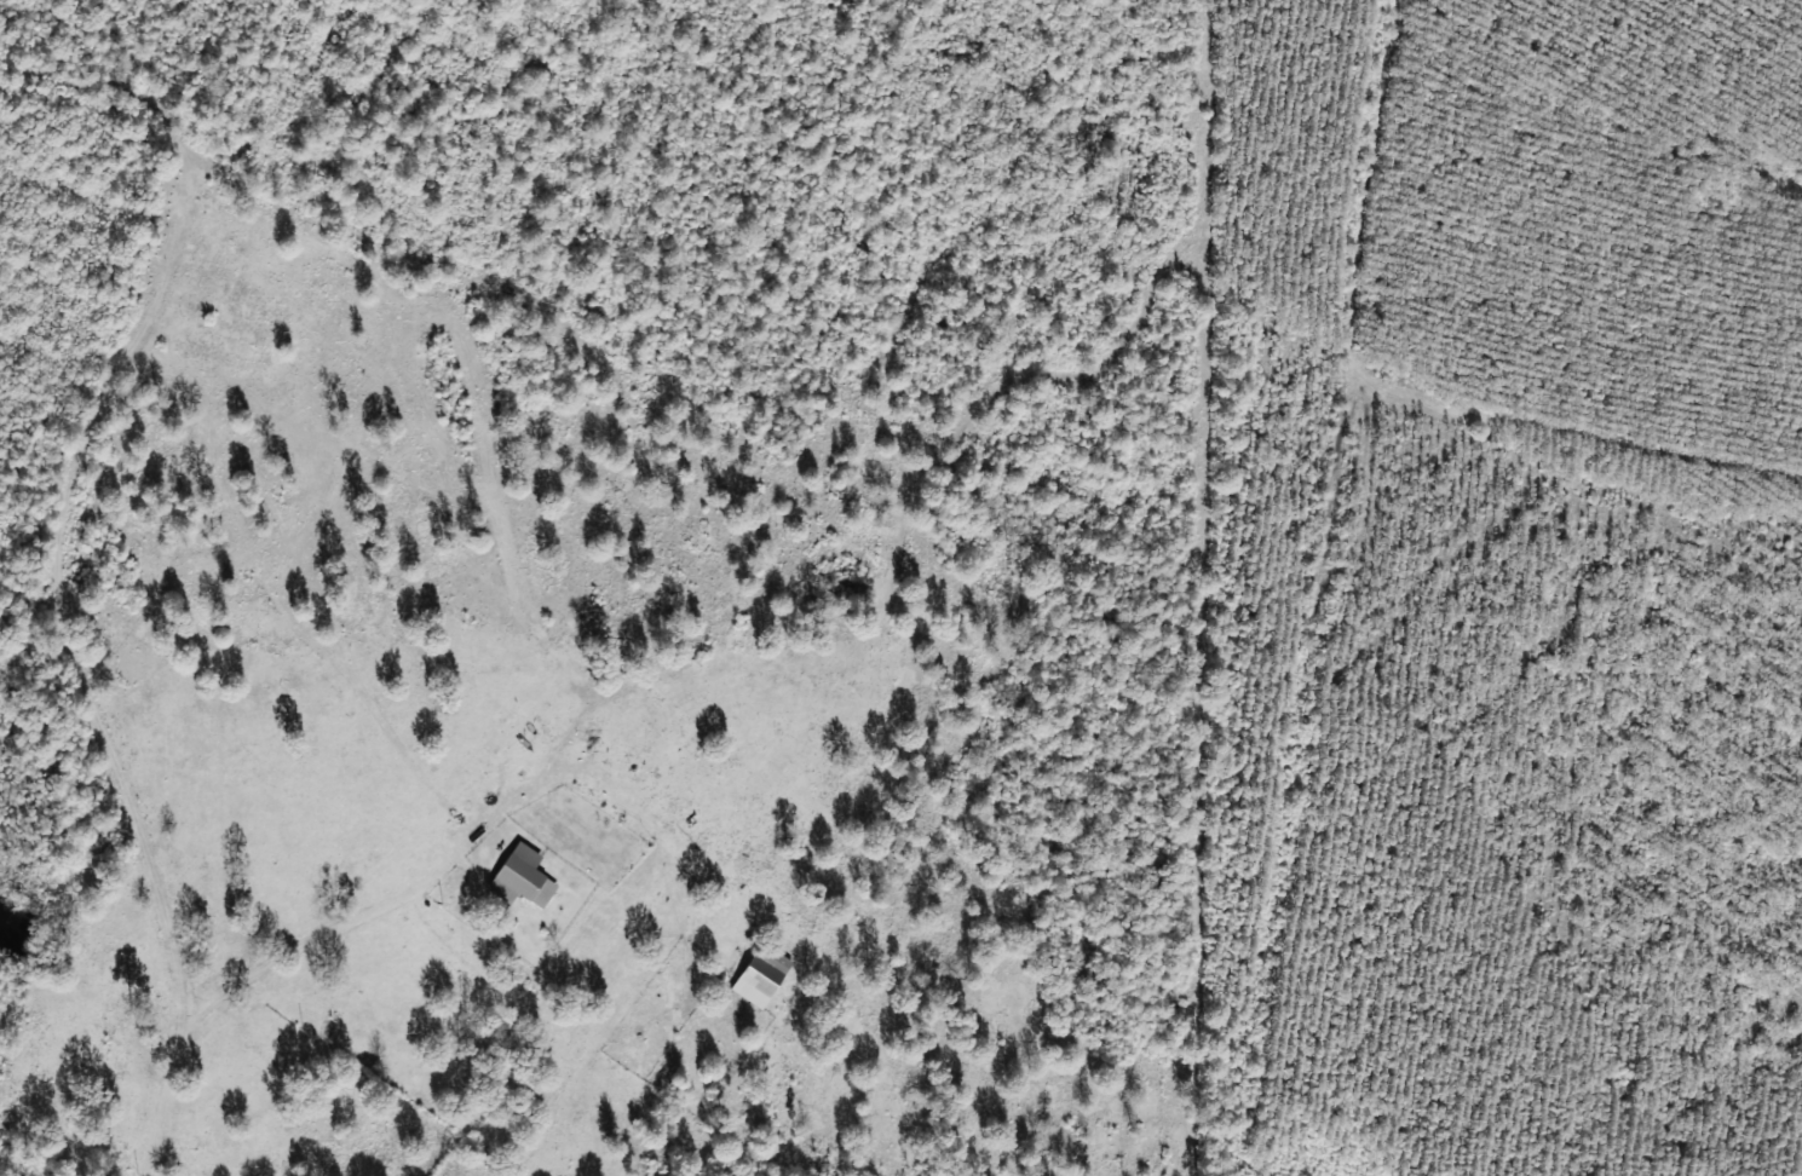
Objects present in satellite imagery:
building: (522, 877)
road: (1332, 947)
building: (760, 975)
road: (1556, 1016)
road: (1351, 1151)

